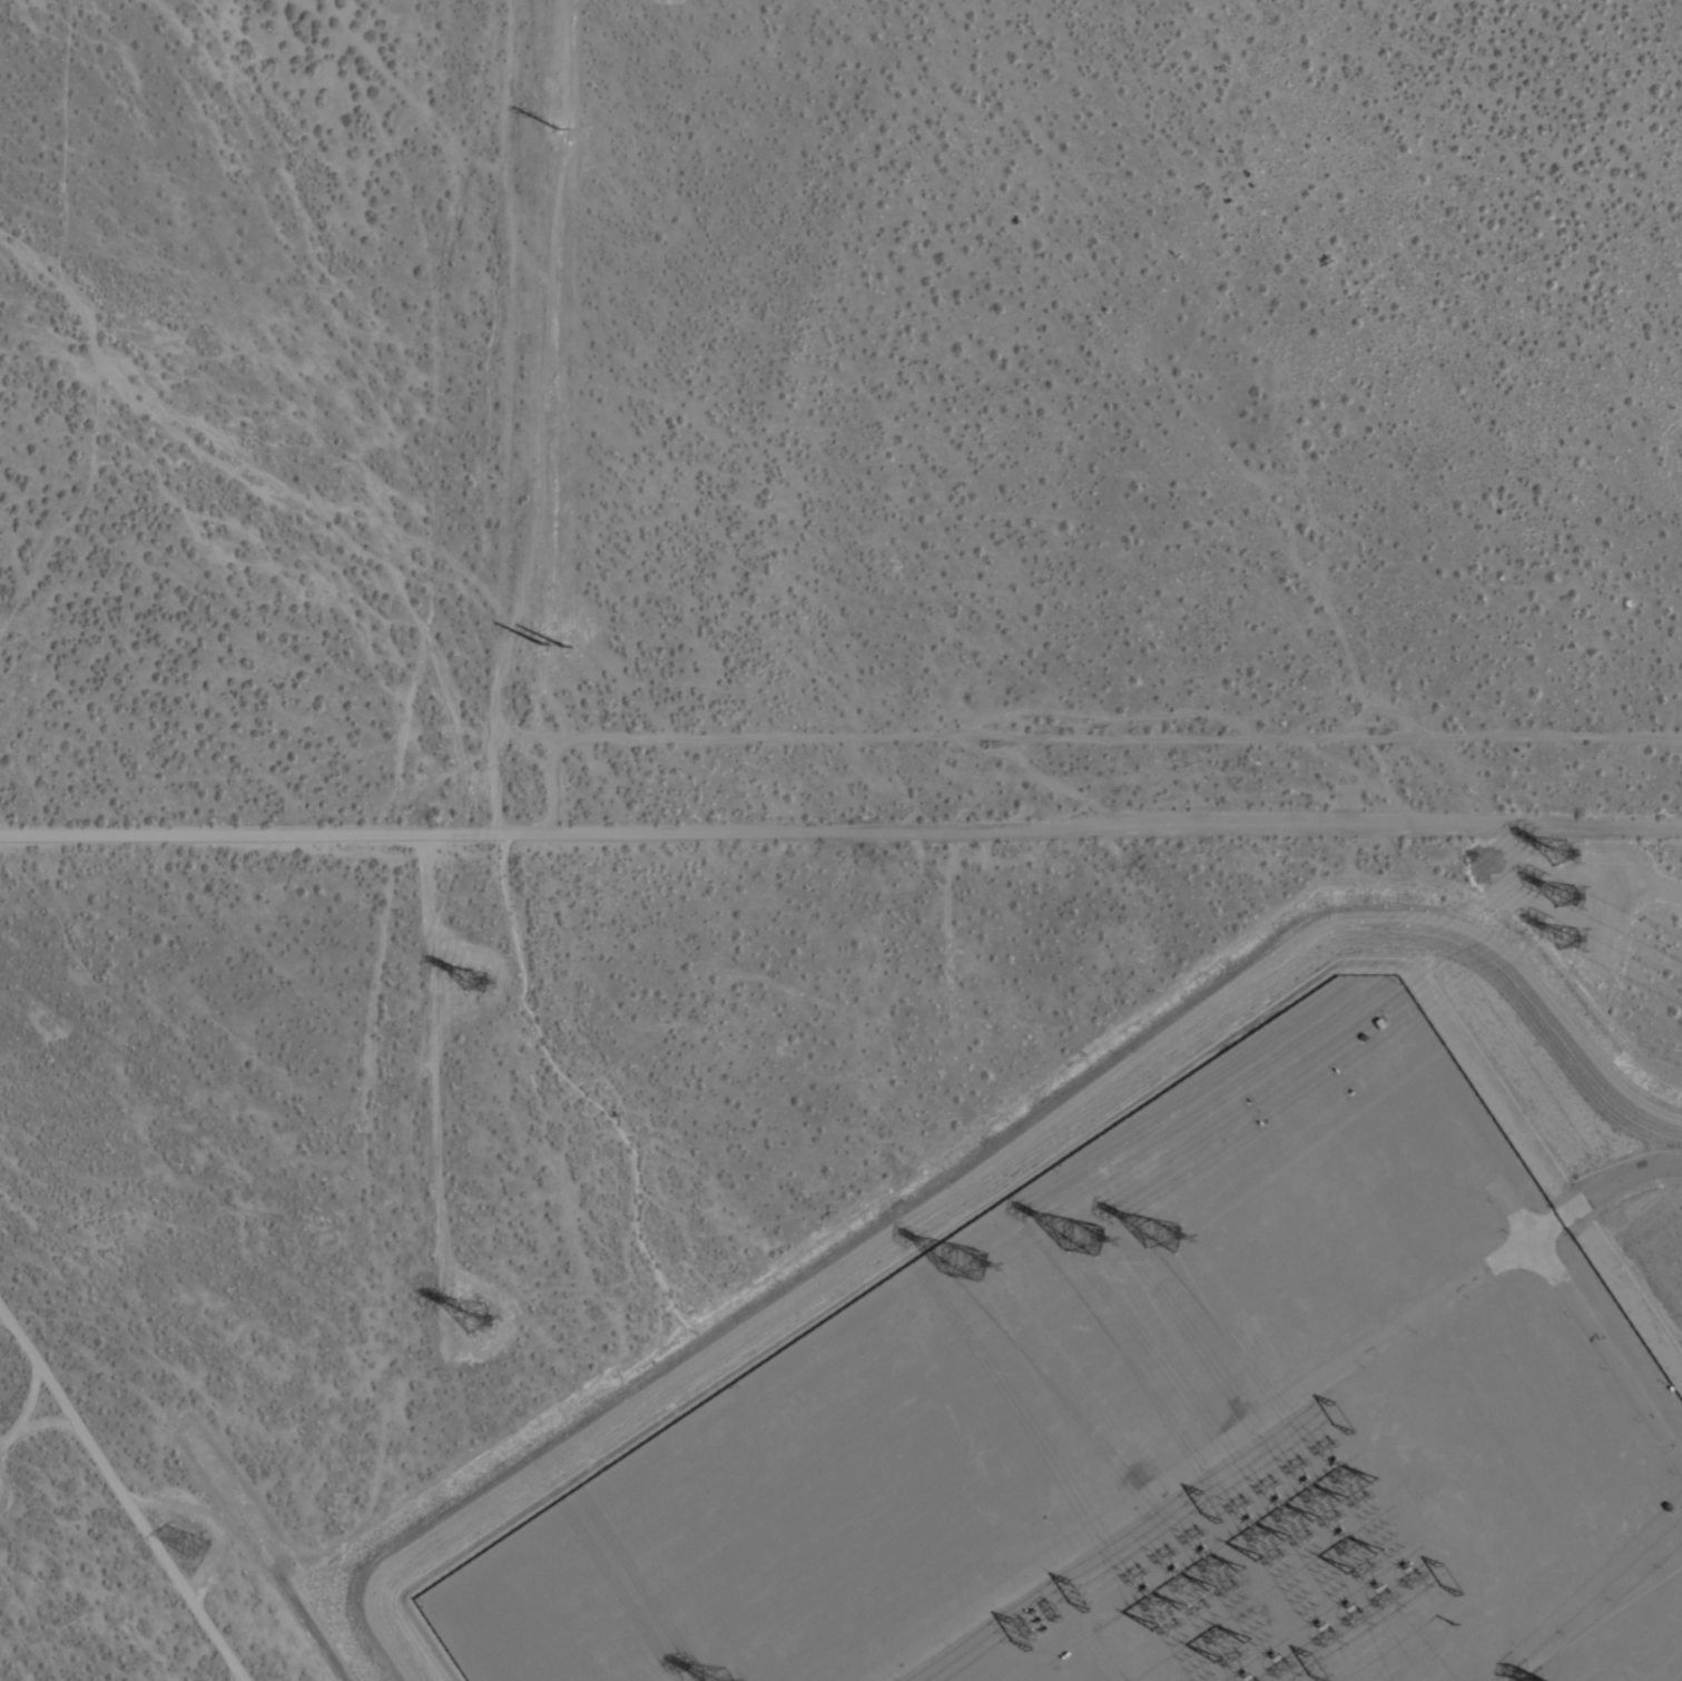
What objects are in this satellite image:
power tower: (561, 128)
power tower: (548, 633)
road: (840, 843)
power tower: (1560, 853)
power tower: (1565, 893)
power tower: (1567, 941)
road: (1613, 1179)
power tower: (1080, 1232)
power tower: (1158, 1237)
power tower: (964, 1259)
power tower: (480, 1315)
power substation: (1161, 1426)
power tower: (1317, 1481)
power tower: (1268, 1516)
power tower: (203, 1543)
power tower: (1182, 1584)
power tower: (722, 1675)

